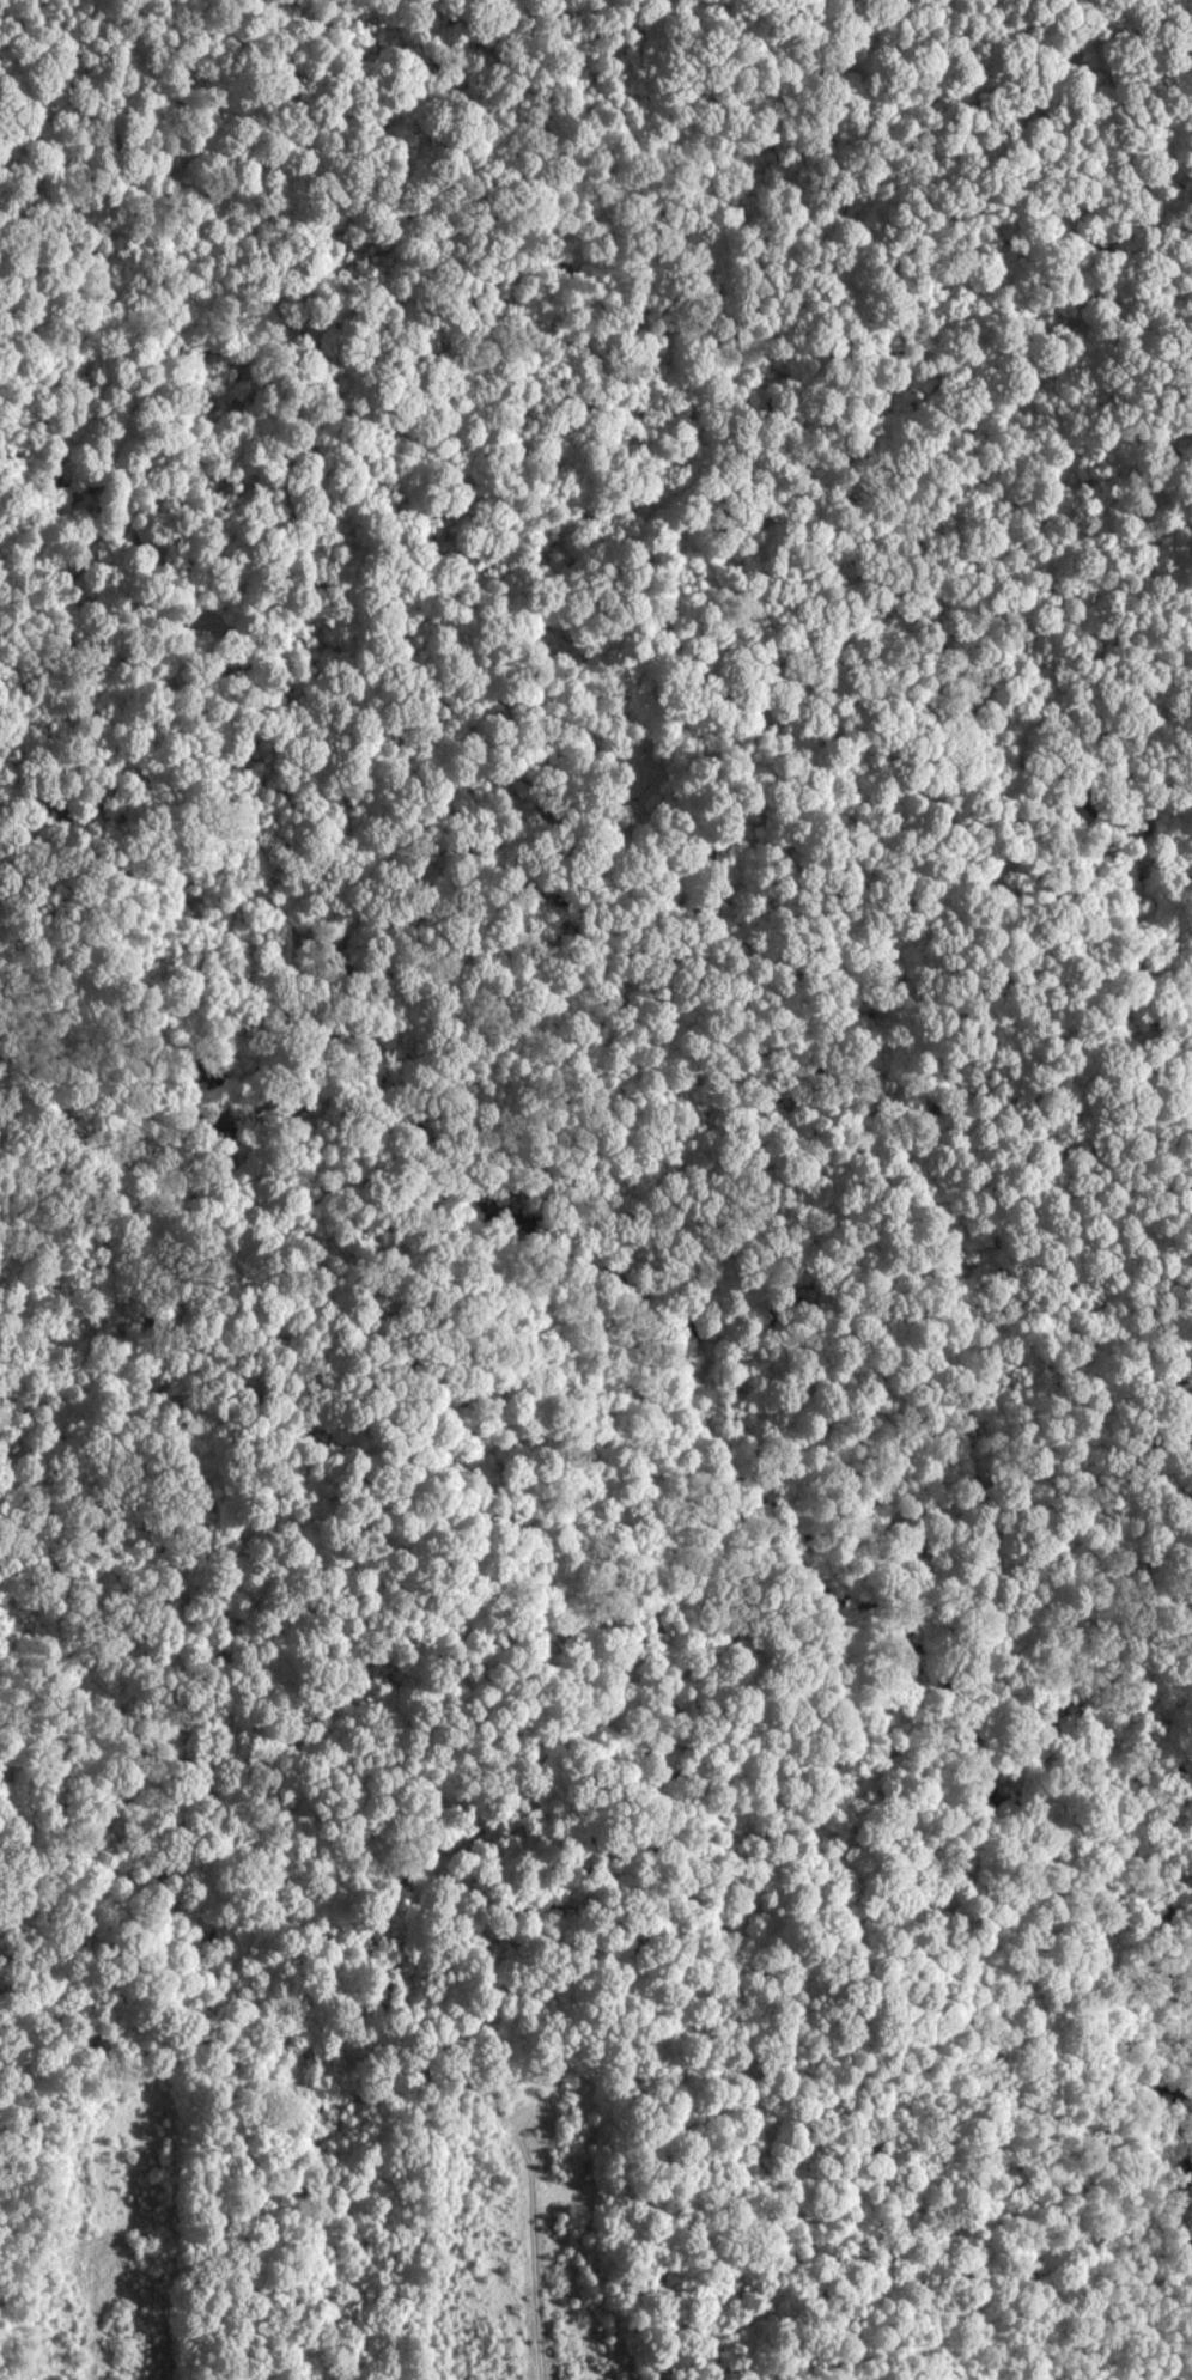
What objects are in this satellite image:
road: (529, 2113)
road: (541, 2272)
road: (93, 2367)

